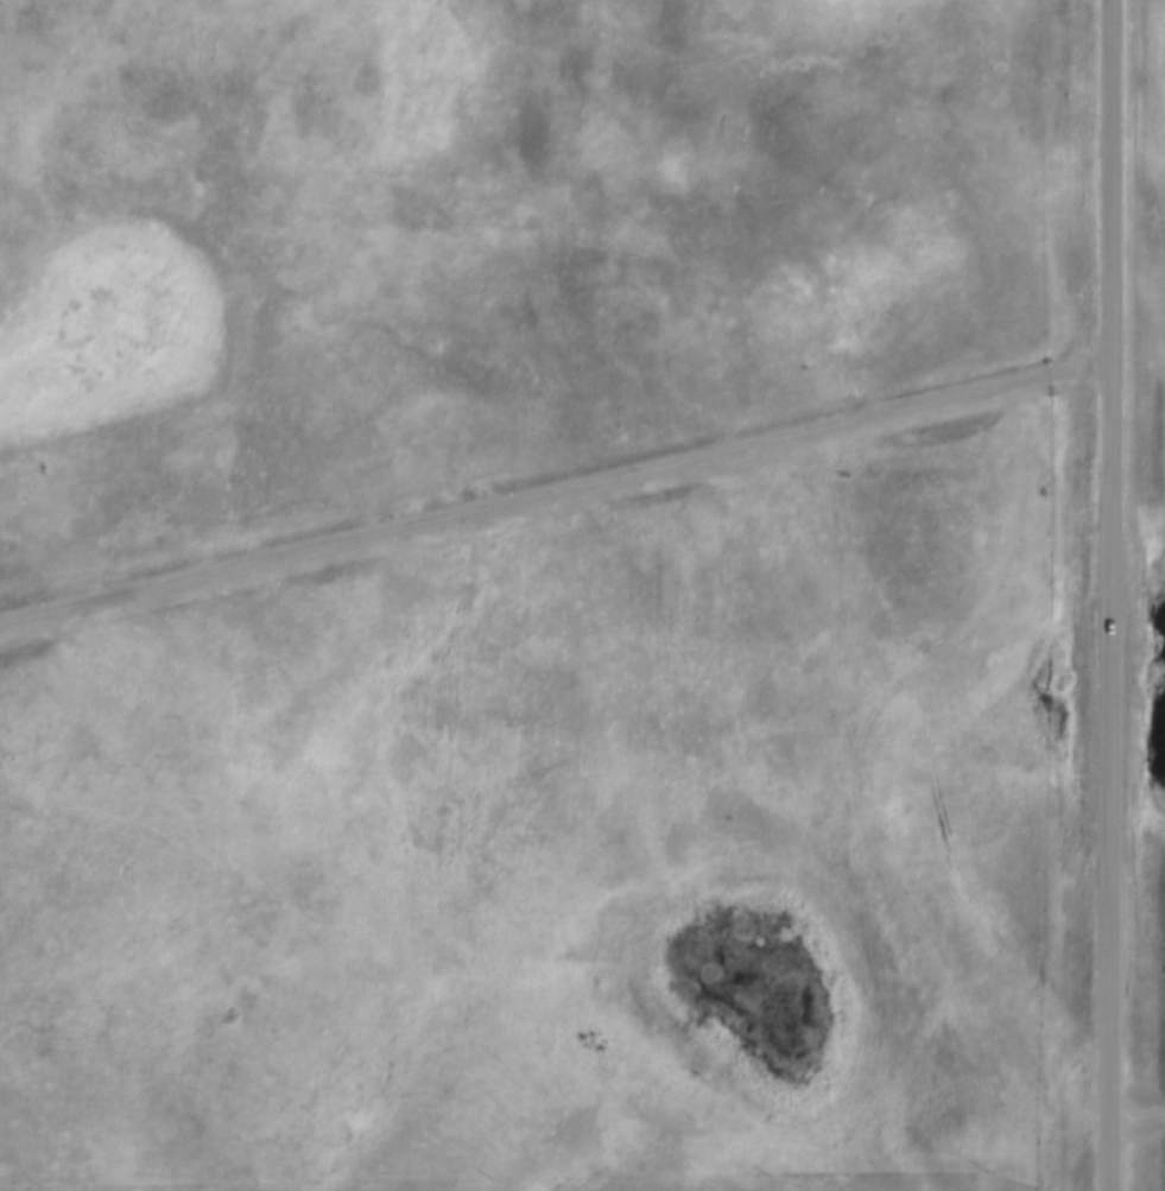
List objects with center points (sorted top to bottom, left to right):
road: (553, 483)
road: (1107, 595)

